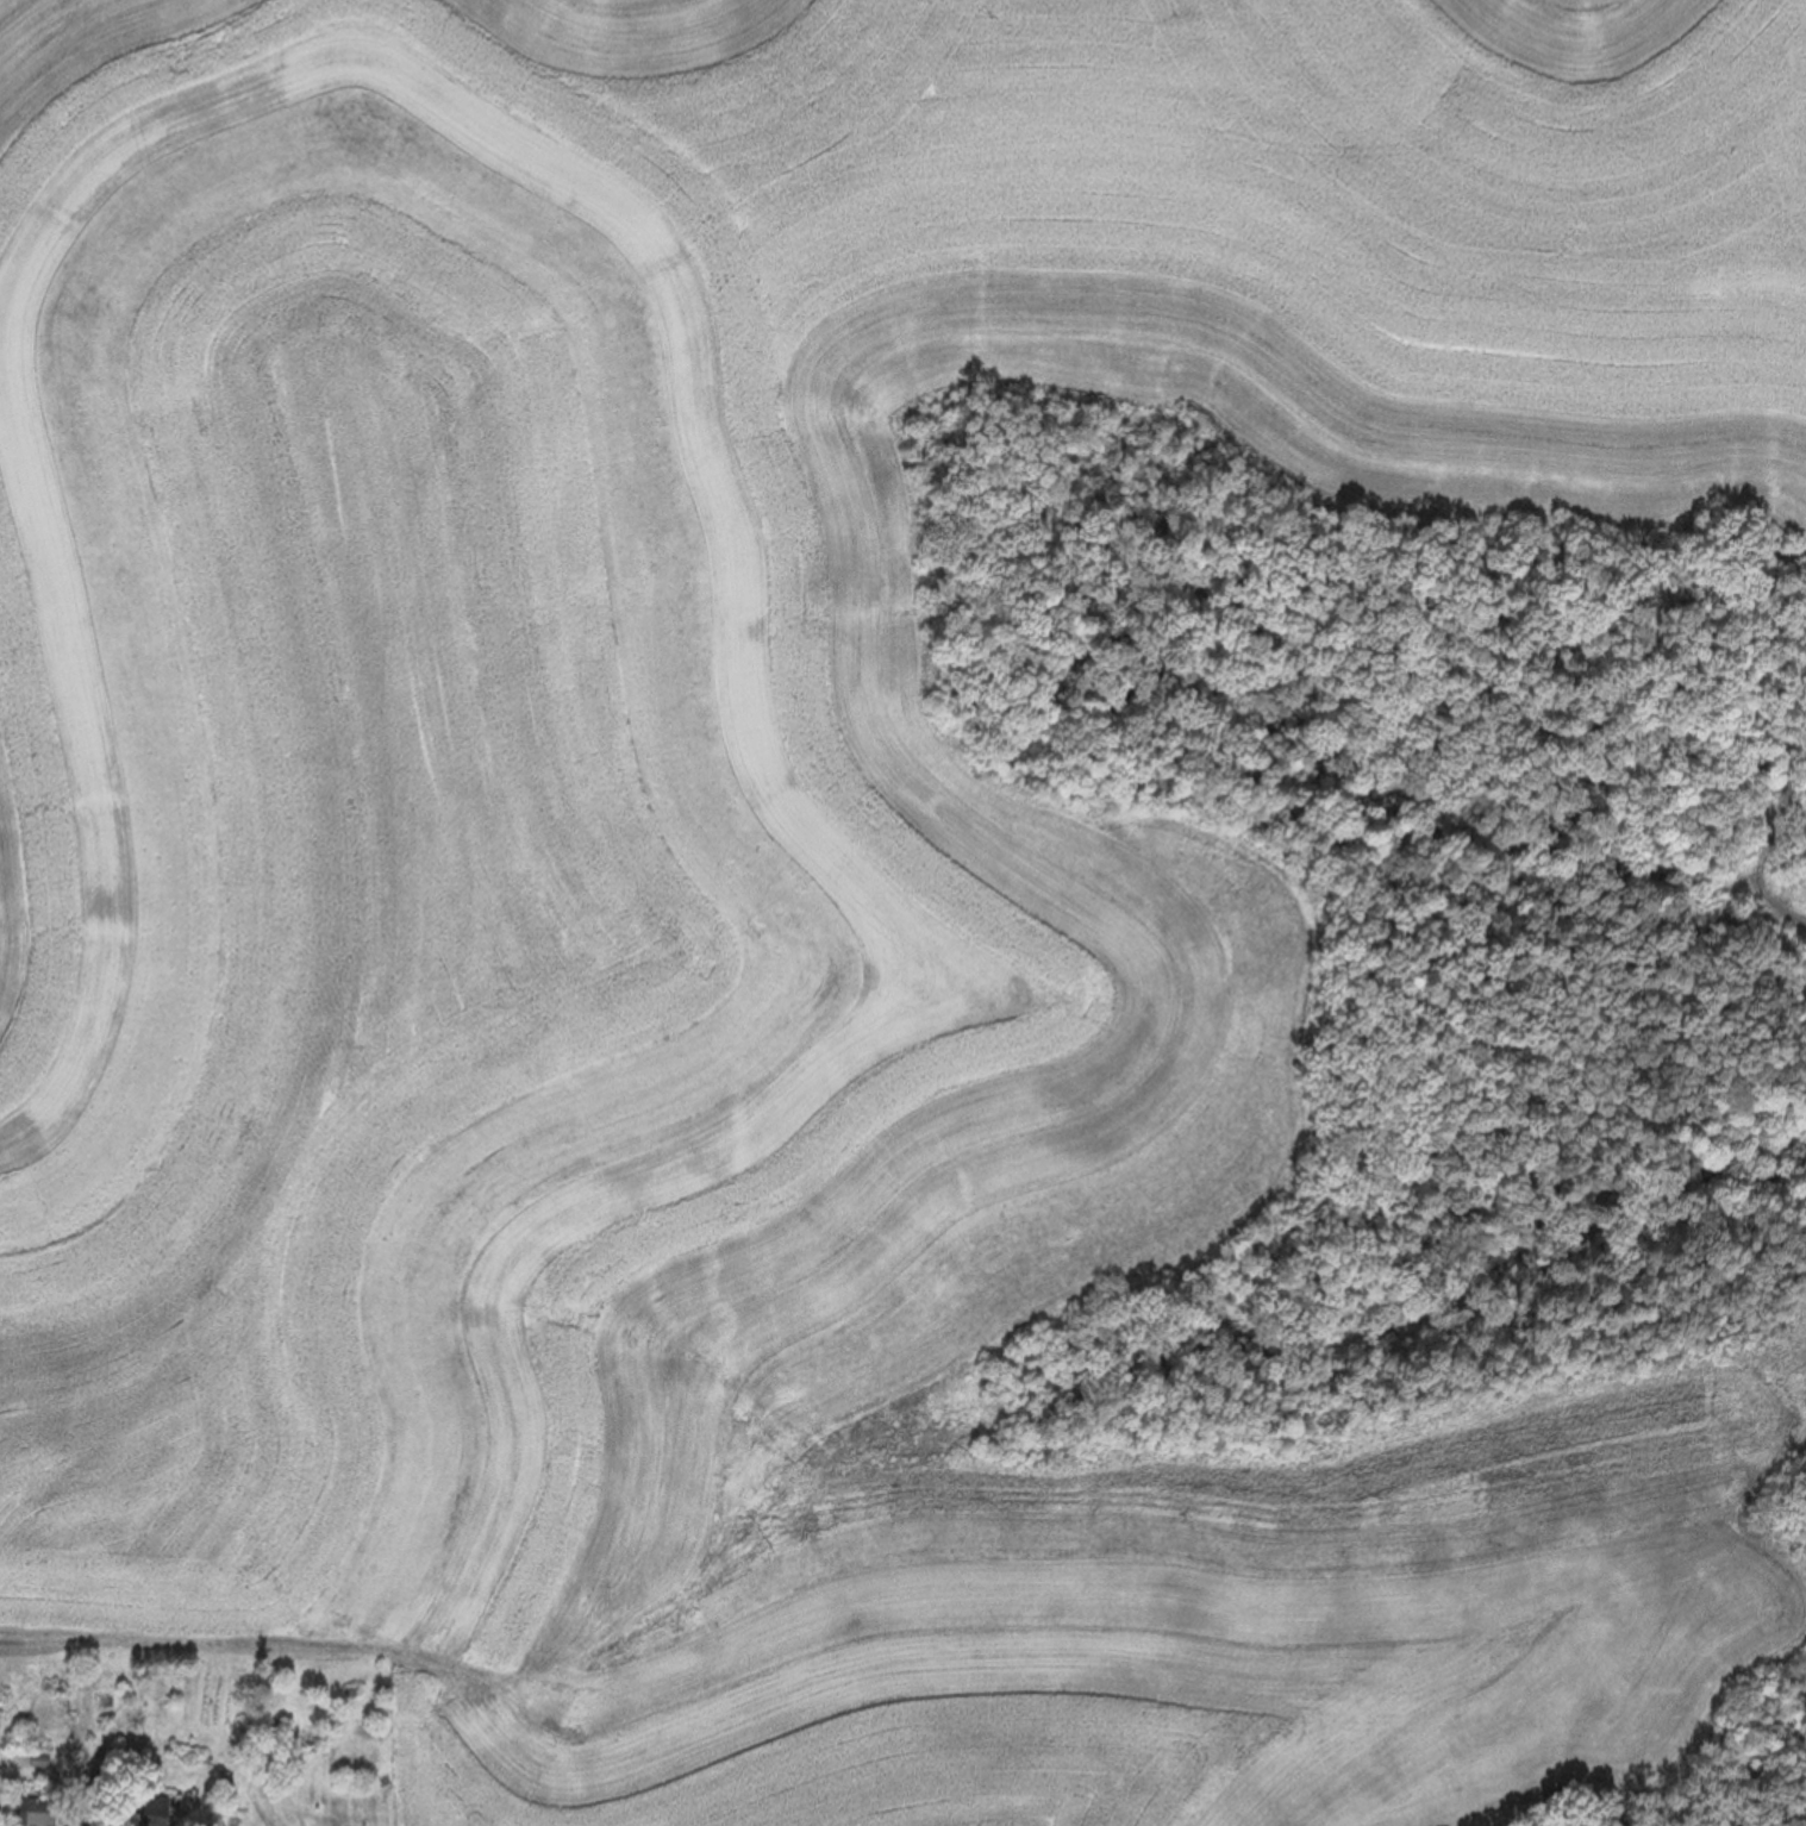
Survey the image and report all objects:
building: (49, 1739)
building: (148, 1811)

